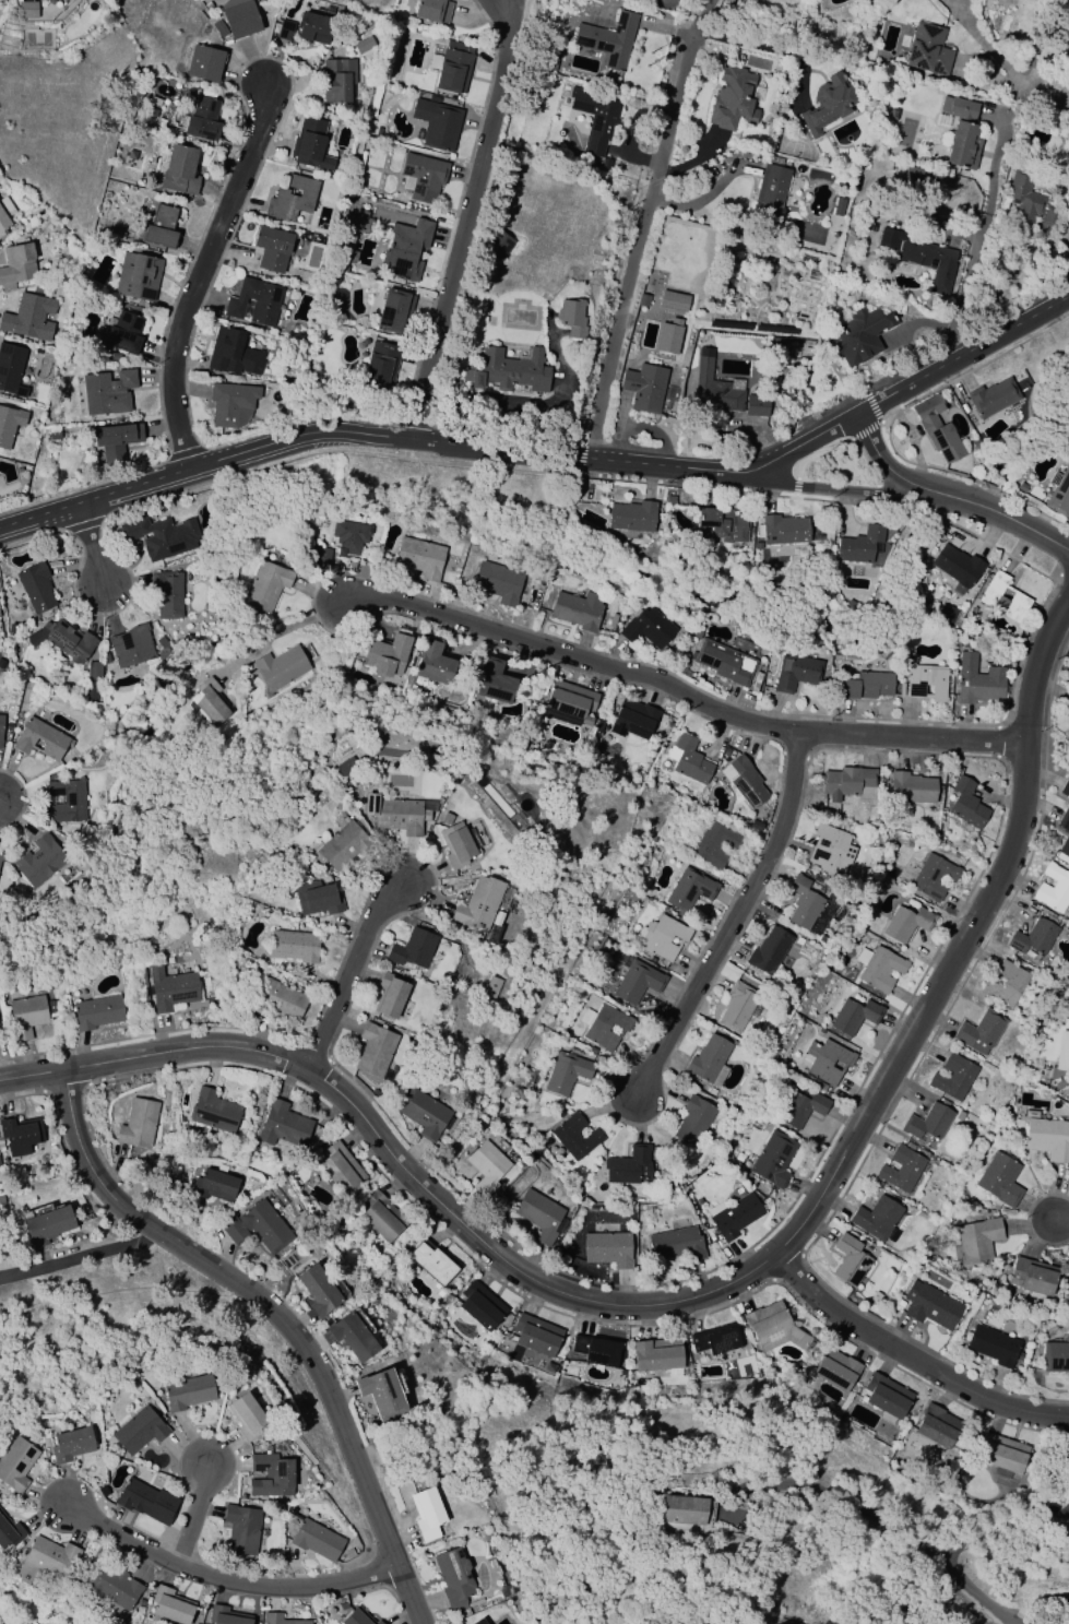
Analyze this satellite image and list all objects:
building: (27, 9)
building: (432, 10)
building: (239, 17)
building: (314, 27)
building: (285, 29)
building: (1066, 35)
building: (608, 39)
road: (984, 44)
road: (773, 50)
building: (928, 50)
building: (204, 62)
building: (453, 67)
building: (338, 80)
road: (1042, 94)
building: (733, 98)
building: (154, 100)
building: (828, 104)
building: (959, 108)
building: (892, 114)
building: (595, 117)
building: (202, 119)
building: (437, 123)
building: (310, 145)
building: (962, 146)
building: (606, 164)
building: (180, 170)
building: (423, 177)
building: (770, 191)
building: (292, 198)
building: (1023, 202)
building: (4, 214)
building: (1049, 216)
road: (470, 223)
building: (161, 226)
road: (648, 230)
building: (353, 235)
building: (497, 246)
building: (272, 248)
building: (406, 249)
road: (972, 250)
building: (922, 256)
building: (16, 265)
building: (138, 275)
road: (199, 275)
building: (642, 300)
building: (254, 303)
building: (673, 303)
building: (394, 311)
building: (29, 317)
building: (572, 318)
building: (123, 332)
building: (856, 334)
building: (668, 336)
building: (233, 353)
building: (380, 365)
building: (11, 369)
building: (508, 370)
building: (714, 386)
building: (644, 388)
building: (104, 392)
building: (993, 398)
building: (231, 404)
building: (757, 406)
building: (9, 425)
building: (937, 429)
building: (1067, 435)
building: (114, 440)
road: (547, 461)
road: (904, 477)
road: (867, 490)
building: (1059, 491)
building: (669, 500)
building: (632, 518)
building: (723, 523)
road: (1023, 525)
building: (783, 530)
building: (161, 536)
building: (349, 536)
building: (860, 545)
road: (93, 547)
building: (321, 556)
building: (419, 557)
building: (957, 565)
building: (497, 582)
building: (266, 586)
building: (36, 588)
building: (167, 594)
building: (1003, 597)
building: (578, 609)
building: (613, 620)
building: (646, 628)
road: (281, 631)
building: (63, 639)
building: (132, 645)
building: (385, 655)
building: (433, 662)
building: (724, 662)
building: (282, 667)
building: (796, 672)
building: (93, 679)
building: (494, 680)
building: (925, 680)
building: (977, 680)
building: (756, 684)
building: (866, 686)
road: (684, 692)
building: (571, 701)
building: (211, 702)
building: (1068, 706)
building: (632, 719)
building: (1, 727)
building: (1068, 735)
building: (40, 738)
building: (688, 759)
building: (346, 768)
building: (743, 780)
building: (848, 783)
building: (911, 787)
building: (1065, 789)
road: (0, 801)
building: (68, 801)
building: (966, 804)
building: (396, 814)
building: (756, 826)
building: (1065, 841)
building: (713, 843)
building: (459, 844)
building: (341, 846)
building: (830, 850)
building: (1, 857)
building: (39, 861)
building: (933, 877)
building: (1054, 888)
building: (689, 889)
building: (317, 898)
building: (803, 903)
building: (477, 906)
road: (732, 921)
building: (906, 923)
building: (663, 937)
building: (1033, 939)
building: (294, 945)
building: (414, 949)
building: (769, 950)
building: (879, 967)
road: (352, 971)
building: (638, 981)
building: (1007, 984)
building: (171, 987)
building: (490, 988)
building: (390, 995)
building: (278, 1000)
building: (736, 1007)
building: (97, 1012)
building: (25, 1015)
building: (854, 1016)
building: (604, 1026)
building: (979, 1032)
building: (375, 1050)
building: (1062, 1052)
building: (710, 1060)
building: (828, 1060)
building: (567, 1072)
building: (953, 1077)
building: (801, 1109)
building: (213, 1112)
building: (425, 1113)
building: (692, 1119)
building: (927, 1122)
building: (139, 1123)
building: (283, 1125)
building: (20, 1135)
building: (574, 1136)
building: (1048, 1139)
building: (774, 1159)
building: (628, 1165)
building: (487, 1166)
building: (901, 1167)
building: (338, 1169)
building: (999, 1178)
building: (213, 1185)
building: (539, 1214)
building: (734, 1216)
building: (382, 1217)
building: (878, 1218)
road: (1061, 1222)
building: (46, 1224)
building: (258, 1226)
building: (977, 1241)
building: (676, 1244)
building: (608, 1248)
road: (79, 1255)
building: (850, 1261)
building: (431, 1264)
building: (1032, 1276)
building: (318, 1290)
road: (711, 1296)
building: (930, 1305)
building: (480, 1306)
road: (278, 1315)
building: (774, 1328)
building: (536, 1335)
building: (353, 1337)
building: (716, 1339)
building: (993, 1346)
building: (596, 1350)
building: (656, 1354)
building: (1056, 1356)
road: (913, 1361)
building: (830, 1370)
building: (380, 1390)
building: (187, 1391)
building: (886, 1397)
building: (367, 1404)
building: (246, 1415)
building: (937, 1425)
building: (139, 1431)
building: (71, 1444)
building: (1002, 1458)
building: (15, 1463)
building: (270, 1475)
road: (835, 1498)
building: (146, 1501)
road: (194, 1506)
building: (688, 1509)
building: (427, 1514)
building: (241, 1529)
building: (9, 1532)
road: (997, 1533)
building: (316, 1539)
building: (44, 1565)
road: (214, 1579)
building: (454, 1579)
building: (115, 1587)
building: (170, 1605)
building: (225, 1615)
building: (357, 1617)
building: (281, 1620)
building: (1065, 1620)
building: (477, 1622)

